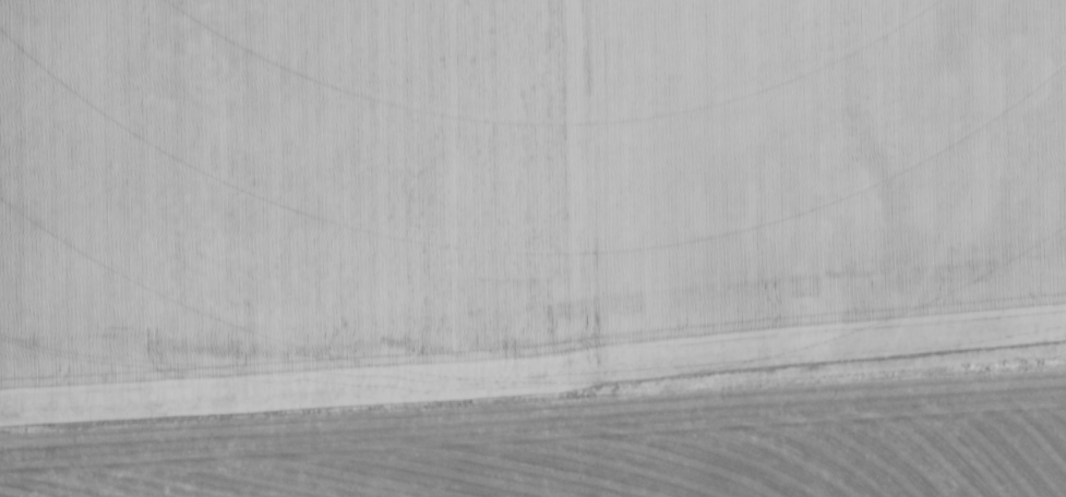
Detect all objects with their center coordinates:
crop: (819, 178)
crop: (374, 280)

